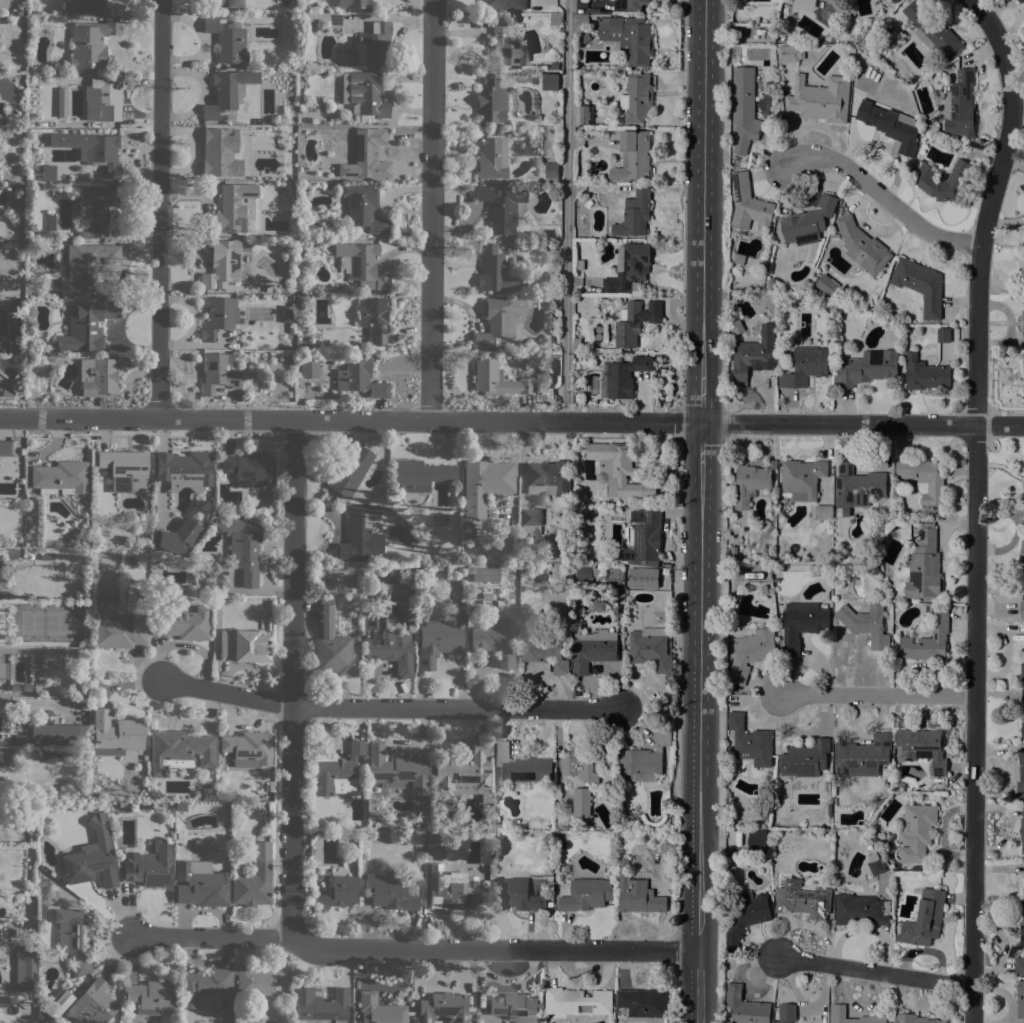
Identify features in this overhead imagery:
building: (832, 0)
building: (882, 0)
building: (895, 0)
building: (1020, 1)
building: (225, 3)
building: (353, 4)
building: (503, 4)
building: (629, 4)
building: (804, 5)
building: (84, 6)
building: (785, 6)
building: (288, 14)
building: (329, 17)
building: (555, 19)
building: (933, 30)
building: (227, 40)
building: (637, 41)
building: (90, 42)
building: (374, 44)
building: (506, 44)
building: (866, 45)
building: (790, 53)
building: (550, 81)
building: (227, 91)
building: (364, 95)
building: (492, 96)
building: (637, 98)
building: (103, 99)
building: (821, 99)
building: (960, 105)
building: (744, 109)
building: (585, 115)
building: (2, 121)
building: (891, 125)
building: (931, 128)
building: (92, 149)
building: (216, 153)
building: (633, 157)
building: (365, 158)
building: (492, 158)
building: (552, 172)
building: (48, 173)
building: (71, 180)
building: (942, 180)
road: (883, 198)
building: (748, 203)
building: (589, 204)
building: (501, 206)
building: (363, 207)
building: (228, 209)
building: (97, 210)
road: (159, 210)
road: (431, 210)
road: (567, 211)
building: (634, 214)
building: (51, 223)
building: (807, 223)
building: (250, 224)
building: (833, 234)
building: (66, 238)
building: (862, 246)
building: (739, 259)
building: (222, 264)
building: (363, 265)
building: (580, 265)
building: (633, 266)
building: (86, 267)
building: (498, 272)
building: (826, 285)
building: (920, 285)
building: (268, 287)
building: (813, 289)
building: (300, 305)
building: (288, 312)
building: (218, 316)
building: (374, 317)
building: (496, 321)
building: (635, 322)
building: (87, 325)
building: (736, 327)
building: (1023, 327)
building: (944, 335)
building: (577, 344)
building: (12, 346)
building: (554, 355)
building: (753, 355)
building: (307, 367)
building: (554, 367)
building: (805, 367)
building: (867, 368)
building: (1023, 369)
building: (220, 372)
building: (924, 373)
building: (98, 376)
building: (626, 376)
building: (359, 377)
building: (497, 379)
building: (7, 393)
road: (512, 422)
road: (699, 424)
building: (5, 447)
building: (23, 450)
building: (123, 467)
building: (250, 468)
building: (618, 469)
building: (184, 470)
building: (350, 471)
building: (419, 475)
building: (60, 478)
building: (548, 478)
building: (802, 478)
building: (925, 479)
building: (485, 484)
building: (749, 484)
building: (857, 487)
building: (1023, 493)
road: (975, 503)
building: (889, 505)
building: (823, 513)
building: (531, 521)
building: (360, 534)
building: (176, 537)
building: (640, 538)
building: (243, 546)
building: (558, 547)
building: (1022, 551)
building: (12, 552)
building: (520, 558)
building: (924, 566)
building: (584, 570)
building: (601, 570)
building: (485, 574)
building: (630, 575)
building: (1022, 578)
building: (395, 588)
building: (599, 606)
building: (927, 608)
building: (1022, 610)
building: (866, 622)
building: (184, 623)
building: (802, 624)
building: (117, 626)
building: (441, 636)
building: (355, 637)
building: (492, 640)
building: (928, 640)
building: (331, 643)
building: (387, 643)
building: (84, 644)
building: (244, 644)
building: (651, 648)
building: (593, 650)
building: (545, 651)
building: (751, 653)
building: (1022, 671)
road: (291, 679)
building: (729, 691)
building: (25, 692)
road: (882, 695)
road: (390, 707)
building: (1022, 712)
building: (45, 713)
building: (61, 733)
building: (115, 734)
building: (19, 740)
building: (750, 741)
building: (248, 748)
building: (923, 748)
building: (179, 751)
building: (50, 756)
building: (862, 756)
building: (4, 758)
building: (805, 759)
building: (643, 760)
building: (589, 763)
building: (521, 766)
building: (397, 770)
building: (462, 770)
building: (336, 772)
building: (1020, 773)
building: (265, 787)
building: (827, 787)
building: (209, 794)
building: (485, 797)
building: (581, 802)
building: (122, 804)
building: (180, 806)
building: (829, 809)
building: (1022, 829)
building: (916, 831)
building: (427, 833)
building: (756, 841)
building: (90, 864)
building: (875, 864)
building: (149, 865)
building: (254, 879)
building: (420, 880)
building: (201, 886)
building: (451, 890)
building: (338, 893)
building: (390, 893)
building: (637, 893)
building: (521, 895)
building: (586, 895)
building: (484, 896)
building: (803, 900)
building: (1022, 907)
building: (861, 910)
building: (747, 917)
building: (925, 919)
building: (1022, 932)
road: (697, 936)
building: (75, 937)
road: (416, 949)
building: (1019, 965)
road: (876, 969)
building: (23, 970)
building: (260, 982)
building: (207, 988)
building: (153, 997)
building: (1020, 999)
building: (577, 1001)
building: (643, 1002)
building: (319, 1003)
building: (59, 1004)
building: (92, 1004)
building: (515, 1007)
building: (745, 1007)
building: (443, 1008)
building: (379, 1009)
building: (838, 1010)
building: (787, 1013)
building: (913, 1019)
building: (775, 1022)

